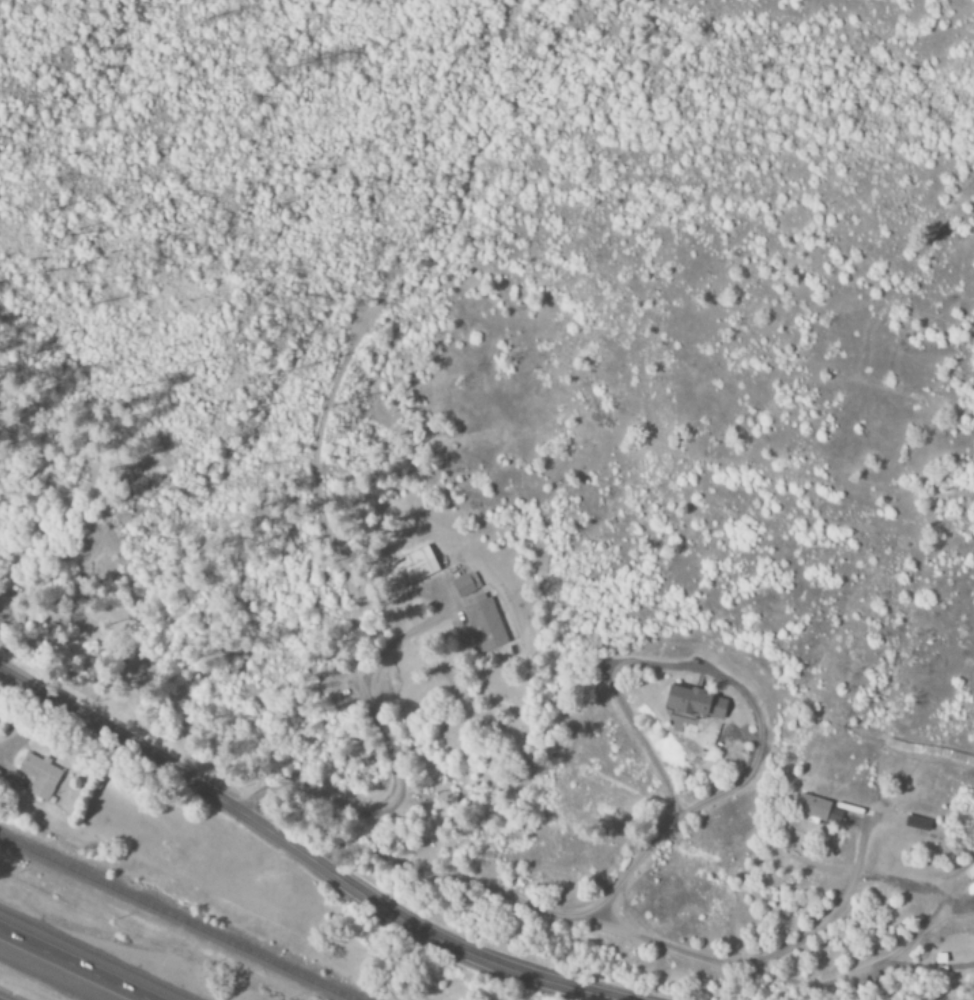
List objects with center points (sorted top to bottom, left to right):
building: (413, 568)
building: (466, 585)
building: (483, 622)
building: (695, 704)
road: (392, 763)
building: (39, 777)
road: (693, 806)
building: (812, 808)
building: (917, 824)
road: (299, 852)
railway: (167, 921)
road: (750, 960)
road: (72, 966)
road: (858, 970)

